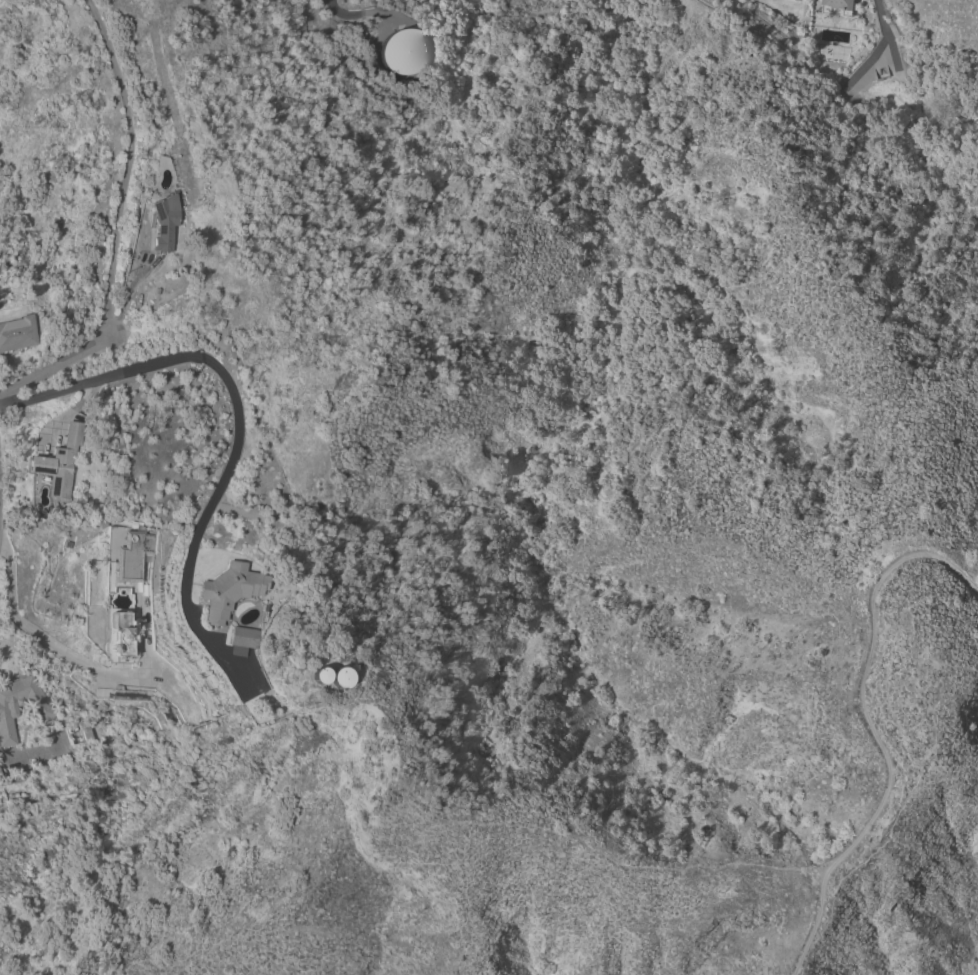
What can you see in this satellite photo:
building: (839, 4)
building: (404, 51)
road: (129, 165)
building: (164, 225)
building: (17, 333)
road: (55, 365)
road: (239, 425)
building: (61, 461)
building: (133, 555)
building: (229, 590)
building: (121, 635)
road: (40, 638)
building: (242, 640)
building: (314, 675)
building: (335, 677)
building: (43, 710)
road: (875, 731)
building: (76, 734)

